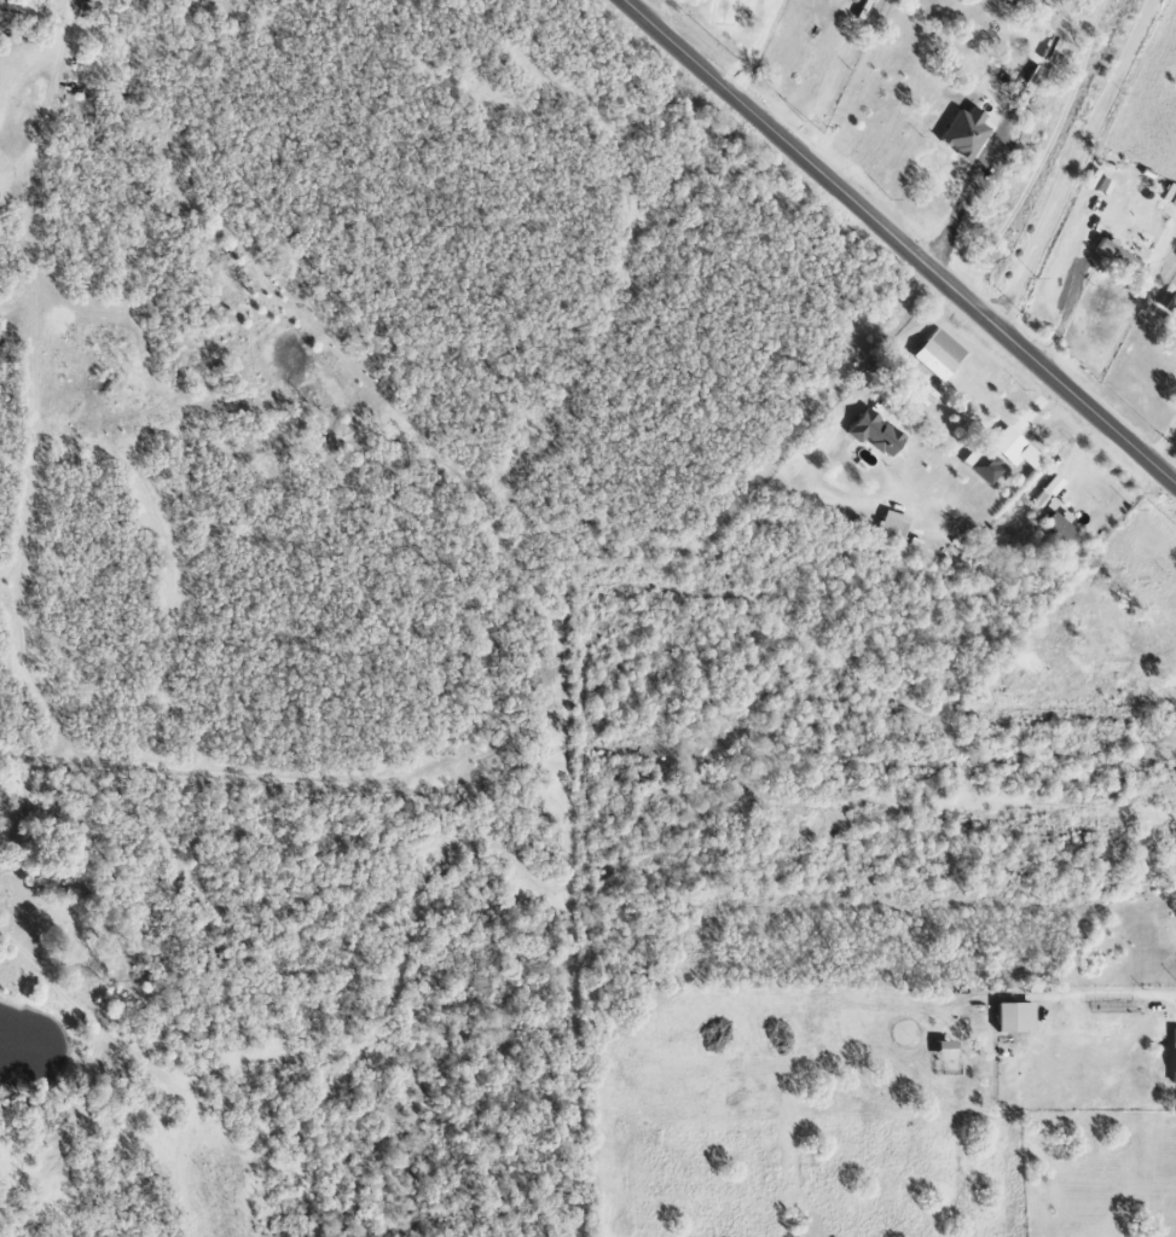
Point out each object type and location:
road: (754, 45)
building: (968, 133)
road: (1074, 163)
road: (960, 222)
road: (899, 240)
building: (1120, 255)
road: (1067, 302)
building: (1172, 306)
road: (920, 338)
building: (942, 354)
building: (877, 434)
road: (1163, 439)
building: (1016, 448)
building: (986, 465)
building: (896, 524)
building: (1060, 528)
building: (1128, 602)
road: (1114, 992)
building: (1009, 1017)
building: (940, 1051)
building: (1171, 1056)

